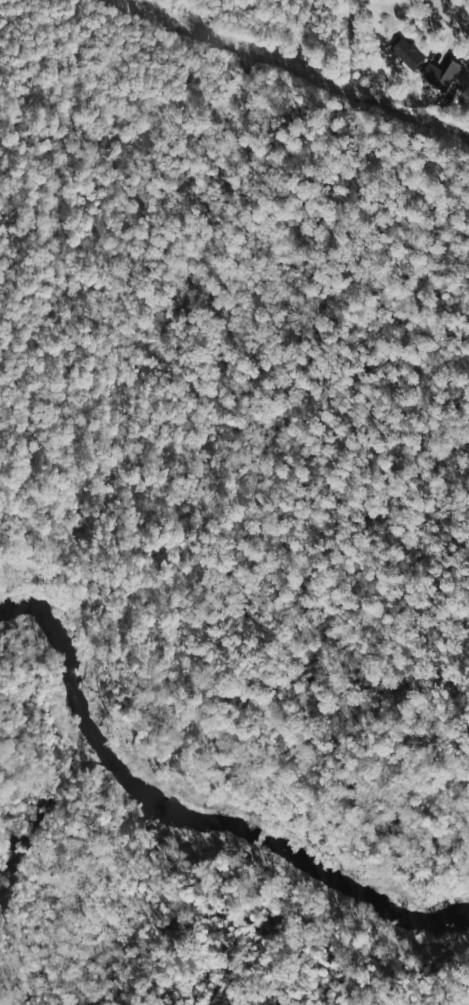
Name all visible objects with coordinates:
road: (451, 17)
building: (407, 54)
building: (468, 63)
building: (441, 74)
park: (410, 558)
river: (192, 808)

